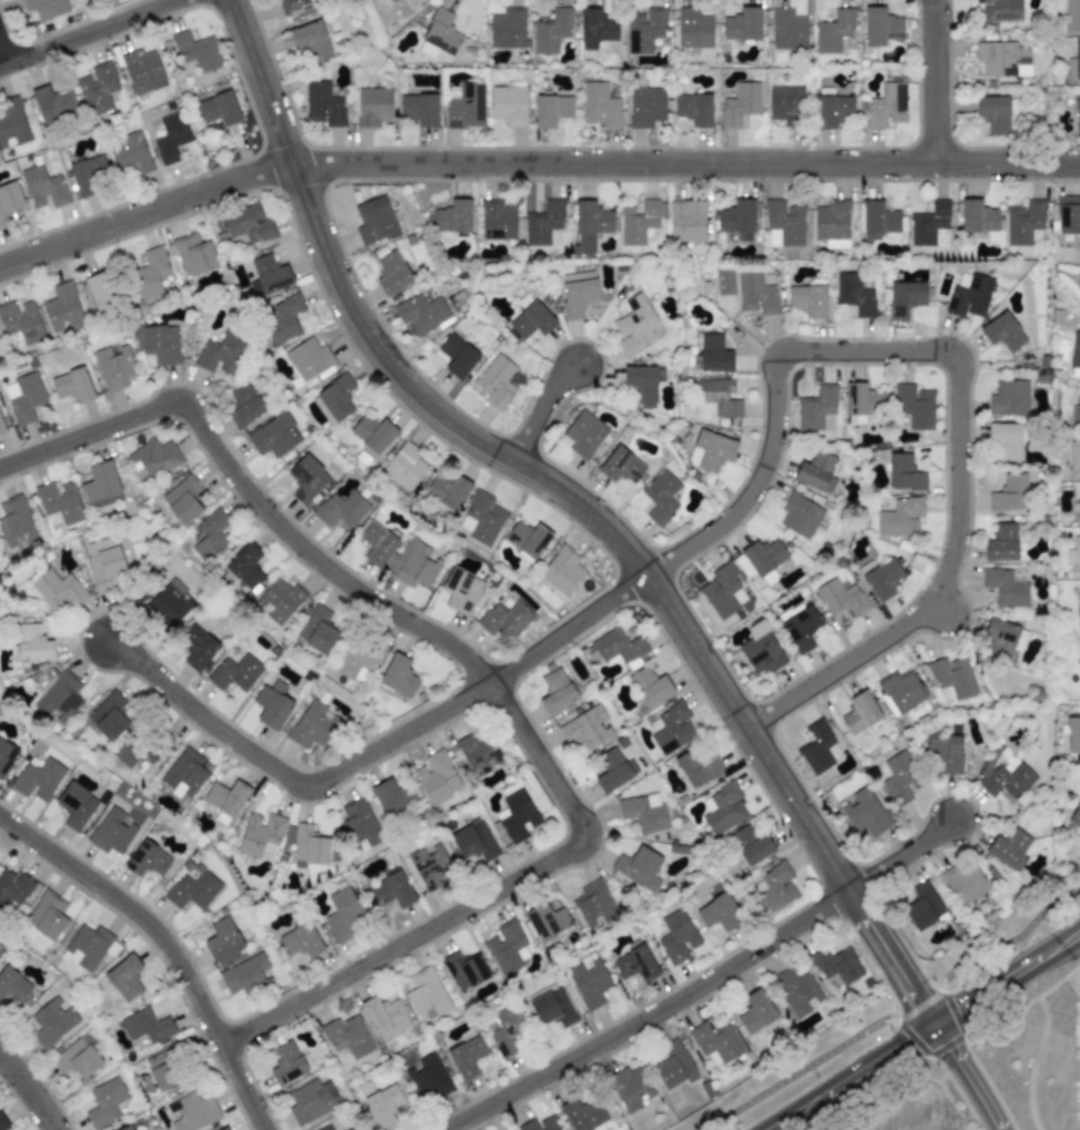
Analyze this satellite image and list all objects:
building: (390, 0)
building: (292, 3)
building: (45, 8)
building: (1000, 10)
building: (1069, 17)
building: (742, 24)
building: (880, 27)
building: (507, 28)
building: (595, 28)
building: (644, 29)
building: (693, 29)
building: (787, 29)
building: (551, 30)
road: (88, 31)
building: (833, 31)
building: (439, 37)
building: (310, 41)
building: (196, 51)
road: (2, 54)
building: (1077, 58)
building: (1001, 59)
building: (142, 70)
road: (933, 81)
building: (98, 88)
building: (508, 103)
building: (601, 103)
building: (53, 104)
building: (323, 104)
building: (740, 104)
building: (784, 104)
building: (886, 104)
building: (373, 106)
building: (466, 106)
building: (645, 106)
building: (218, 109)
building: (419, 109)
building: (693, 109)
building: (551, 110)
building: (831, 110)
building: (995, 112)
building: (1077, 116)
building: (12, 123)
building: (171, 136)
building: (130, 155)
road: (530, 162)
building: (90, 174)
building: (43, 187)
building: (10, 201)
building: (1068, 214)
building: (452, 216)
building: (977, 216)
building: (374, 220)
building: (497, 220)
building: (737, 220)
building: (877, 220)
building: (686, 221)
building: (784, 221)
building: (1023, 221)
building: (542, 222)
building: (247, 223)
building: (641, 223)
building: (832, 223)
building: (928, 223)
building: (589, 225)
building: (193, 254)
building: (391, 272)
building: (150, 273)
building: (271, 274)
building: (724, 282)
building: (99, 292)
building: (578, 293)
building: (755, 294)
building: (854, 294)
building: (968, 295)
building: (904, 298)
building: (807, 301)
building: (62, 307)
building: (421, 313)
building: (284, 318)
building: (21, 320)
building: (531, 320)
building: (636, 326)
building: (1001, 332)
building: (159, 343)
building: (1074, 350)
building: (218, 353)
building: (457, 356)
building: (308, 358)
building: (113, 366)
building: (496, 380)
building: (640, 385)
building: (72, 386)
building: (24, 397)
building: (336, 397)
building: (715, 397)
building: (1009, 397)
building: (860, 399)
building: (244, 404)
building: (1078, 404)
road: (541, 406)
building: (914, 406)
building: (816, 407)
building: (1, 428)
building: (373, 432)
building: (583, 434)
building: (274, 436)
building: (1005, 439)
building: (710, 451)
building: (152, 459)
building: (1073, 459)
building: (405, 466)
building: (621, 466)
building: (816, 471)
building: (904, 472)
building: (307, 479)
road: (760, 479)
building: (101, 486)
road: (253, 486)
building: (448, 490)
building: (1009, 492)
building: (660, 497)
building: (182, 499)
building: (1078, 500)
road: (575, 501)
building: (60, 502)
building: (342, 509)
building: (799, 515)
road: (962, 516)
building: (899, 517)
building: (481, 518)
building: (16, 521)
building: (211, 535)
building: (527, 539)
building: (377, 543)
building: (1001, 543)
building: (763, 556)
building: (1073, 559)
building: (103, 563)
building: (246, 566)
building: (417, 566)
building: (561, 570)
building: (879, 577)
building: (1005, 587)
building: (58, 590)
building: (723, 590)
building: (460, 591)
building: (840, 598)
building: (279, 600)
building: (1079, 600)
building: (171, 603)
building: (505, 620)
building: (799, 627)
building: (316, 630)
building: (1002, 638)
building: (32, 642)
building: (618, 645)
building: (197, 648)
building: (761, 649)
building: (353, 660)
building: (1078, 663)
building: (235, 672)
building: (398, 675)
building: (951, 678)
building: (649, 685)
building: (556, 691)
building: (900, 691)
building: (59, 699)
building: (272, 705)
building: (859, 712)
building: (109, 715)
building: (310, 725)
building: (587, 727)
building: (672, 727)
building: (1072, 734)
road: (376, 747)
building: (816, 747)
building: (945, 751)
building: (478, 752)
building: (134, 753)
building: (6, 756)
building: (697, 766)
building: (613, 771)
building: (184, 773)
building: (436, 777)
building: (898, 777)
building: (1009, 777)
building: (38, 780)
building: (393, 796)
building: (225, 800)
building: (75, 805)
building: (722, 808)
building: (864, 812)
building: (644, 813)
building: (516, 815)
building: (1076, 816)
building: (358, 823)
building: (111, 831)
building: (261, 835)
building: (475, 841)
building: (305, 844)
building: (750, 844)
building: (1009, 849)
building: (147, 859)
building: (638, 866)
building: (428, 868)
building: (965, 882)
building: (13, 886)
building: (775, 888)
building: (391, 889)
building: (192, 890)
road: (491, 892)
building: (593, 903)
building: (923, 905)
building: (719, 913)
building: (342, 914)
building: (47, 916)
building: (546, 920)
building: (676, 936)
building: (223, 940)
building: (299, 940)
road: (170, 943)
building: (89, 947)
building: (507, 947)
building: (634, 964)
building: (836, 964)
building: (462, 970)
building: (245, 976)
building: (124, 978)
road: (1007, 978)
road: (703, 979)
building: (588, 980)
building: (13, 984)
building: (795, 990)
building: (426, 994)
building: (551, 1006)
park: (889, 1009)
building: (756, 1011)
building: (385, 1017)
road: (900, 1017)
building: (51, 1021)
building: (146, 1026)
building: (507, 1030)
building: (347, 1036)
building: (717, 1045)
building: (77, 1057)
building: (467, 1057)
building: (286, 1063)
building: (673, 1065)
building: (164, 1069)
road: (966, 1076)
road: (846, 1077)
building: (427, 1078)
road: (35, 1085)
building: (631, 1088)
building: (310, 1100)
building: (104, 1101)
building: (383, 1102)
building: (192, 1112)
building: (582, 1113)
building: (2, 1123)
building: (539, 1124)
building: (128, 1128)
building: (326, 1128)
building: (224, 1129)

